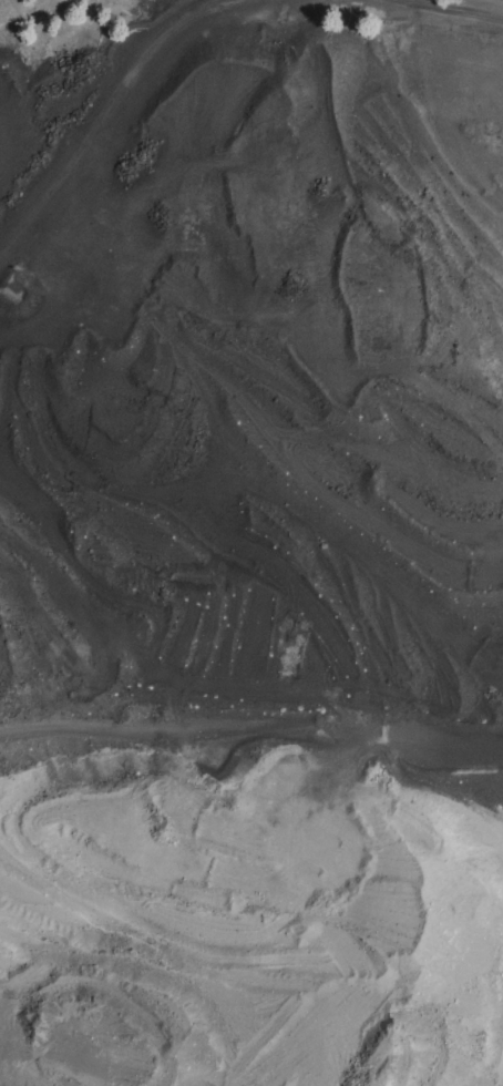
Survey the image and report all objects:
road: (443, 11)
road: (106, 105)
quarry: (251, 543)

